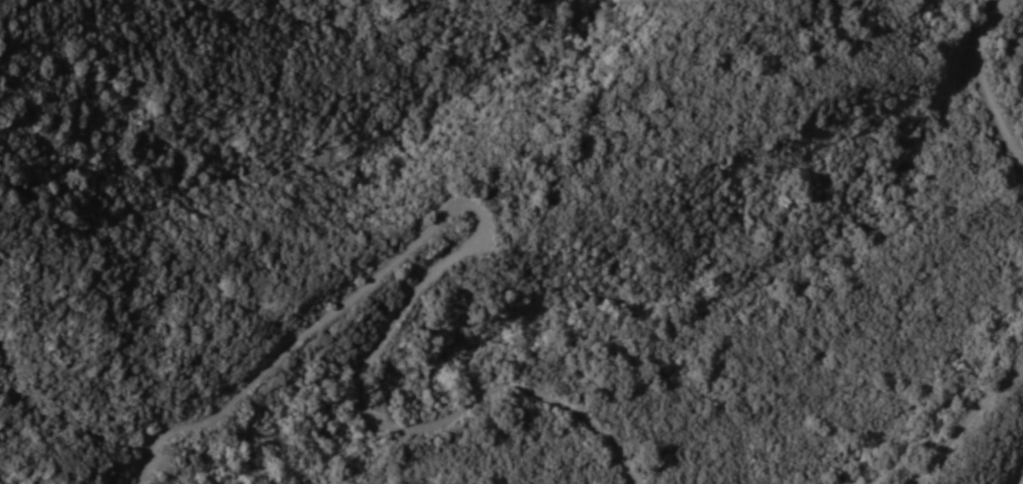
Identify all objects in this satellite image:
road: (984, 84)
road: (447, 260)
road: (960, 424)
road: (1020, 478)

